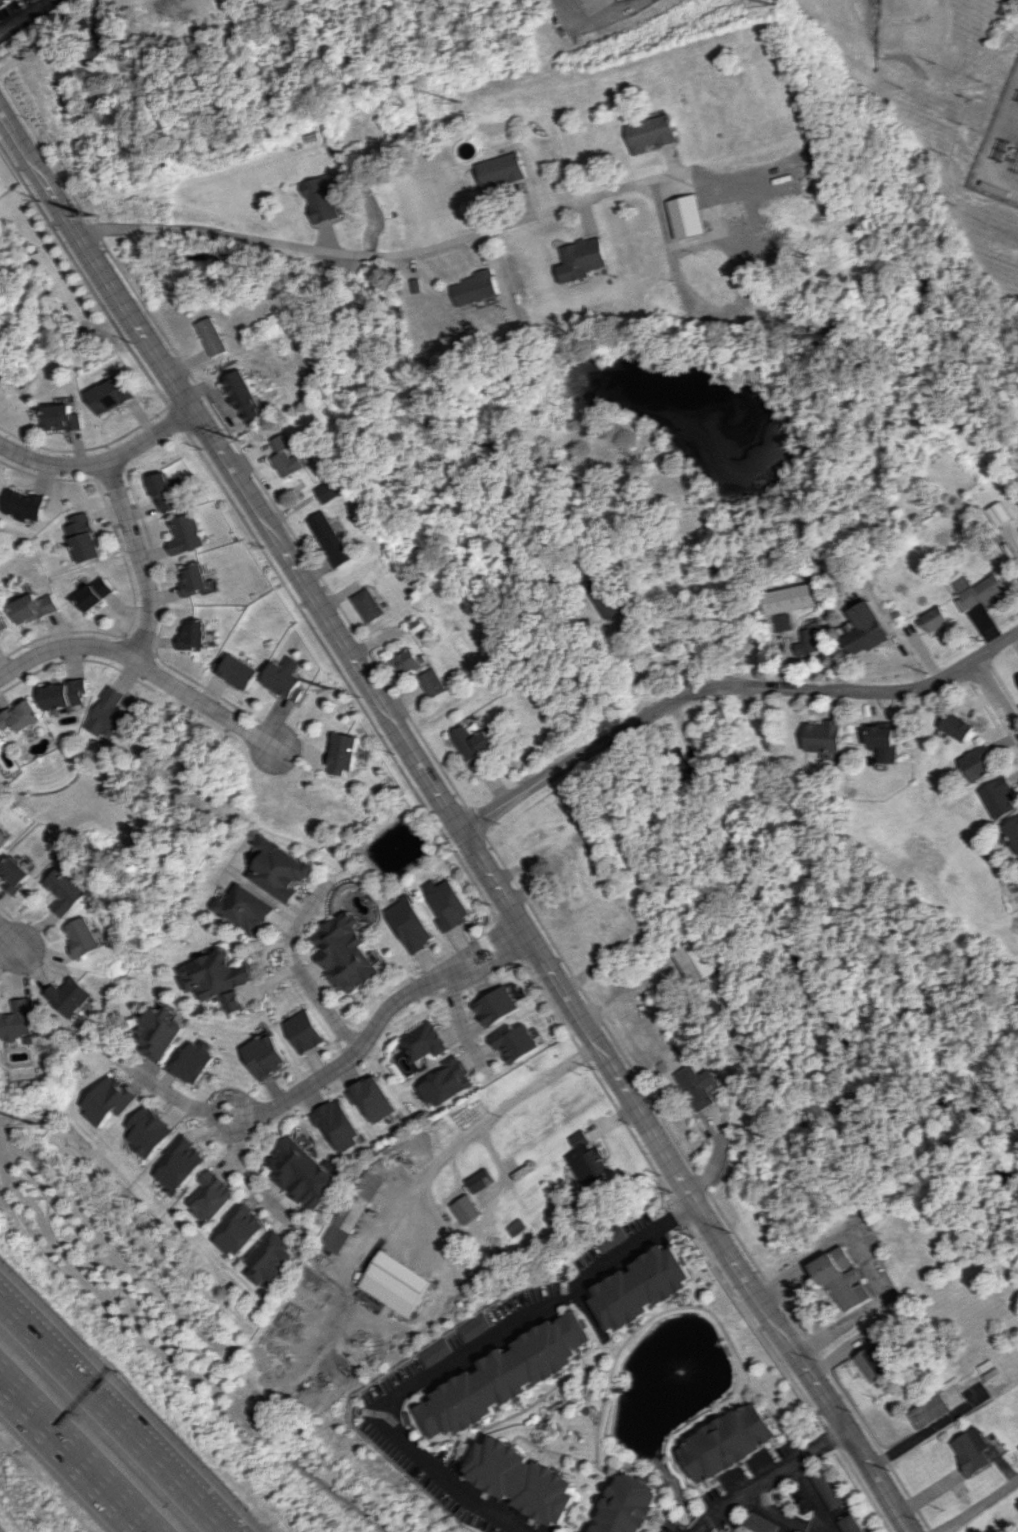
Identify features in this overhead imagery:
building: (4, 2)
power tower: (775, 10)
road: (31, 18)
road: (592, 19)
building: (649, 133)
power substation: (1001, 151)
building: (498, 171)
road: (677, 179)
building: (323, 197)
building: (687, 216)
power tower: (96, 220)
road: (367, 253)
building: (582, 259)
building: (475, 288)
building: (214, 336)
building: (114, 394)
building: (245, 397)
building: (67, 418)
building: (286, 456)
road: (101, 457)
building: (330, 490)
building: (162, 492)
building: (26, 505)
building: (999, 514)
building: (184, 534)
building: (83, 537)
building: (329, 538)
road: (137, 557)
building: (194, 580)
building: (981, 591)
building: (94, 593)
building: (607, 596)
building: (789, 599)
building: (368, 605)
building: (35, 607)
building: (935, 619)
building: (3, 622)
building: (785, 622)
building: (867, 629)
building: (193, 635)
building: (0, 638)
building: (811, 641)
road: (63, 645)
building: (407, 662)
building: (237, 671)
building: (285, 679)
building: (433, 683)
road: (731, 686)
power tower: (332, 689)
building: (67, 694)
road: (997, 695)
road: (205, 702)
building: (112, 716)
building: (22, 717)
building: (959, 726)
building: (825, 736)
building: (472, 740)
building: (885, 741)
building: (2, 743)
building: (344, 753)
building: (981, 763)
building: (1002, 797)
road: (459, 810)
building: (1013, 831)
building: (533, 844)
building: (2, 845)
building: (279, 869)
building: (18, 873)
building: (569, 885)
building: (68, 890)
building: (447, 904)
building: (245, 909)
building: (410, 924)
road: (518, 934)
building: (86, 936)
road: (12, 939)
building: (345, 953)
building: (698, 961)
road: (464, 966)
road: (298, 969)
building: (217, 978)
building: (70, 996)
building: (497, 1006)
building: (18, 1018)
road: (463, 1024)
building: (305, 1031)
building: (157, 1032)
building: (425, 1041)
building: (516, 1042)
building: (265, 1055)
building: (190, 1062)
building: (447, 1082)
building: (699, 1086)
road: (304, 1088)
building: (376, 1098)
building: (105, 1100)
building: (341, 1124)
power tower: (33, 1126)
road: (479, 1126)
building: (146, 1131)
building: (588, 1158)
building: (179, 1164)
building: (304, 1174)
road: (249, 1175)
building: (478, 1181)
building: (210, 1196)
building: (465, 1209)
building: (352, 1212)
building: (240, 1229)
building: (613, 1238)
road: (638, 1244)
building: (269, 1259)
road: (868, 1261)
building: (842, 1279)
building: (391, 1283)
building: (644, 1287)
building: (472, 1327)
building: (432, 1352)
building: (871, 1364)
building: (503, 1377)
road: (416, 1381)
building: (935, 1406)
road: (116, 1417)
road: (921, 1433)
building: (727, 1443)
road: (81, 1451)
building: (970, 1451)
road: (767, 1476)
building: (524, 1480)
building: (824, 1490)
road: (807, 1498)
building: (628, 1505)
road: (979, 1506)
road: (775, 1514)
building: (760, 1523)
building: (848, 1524)

